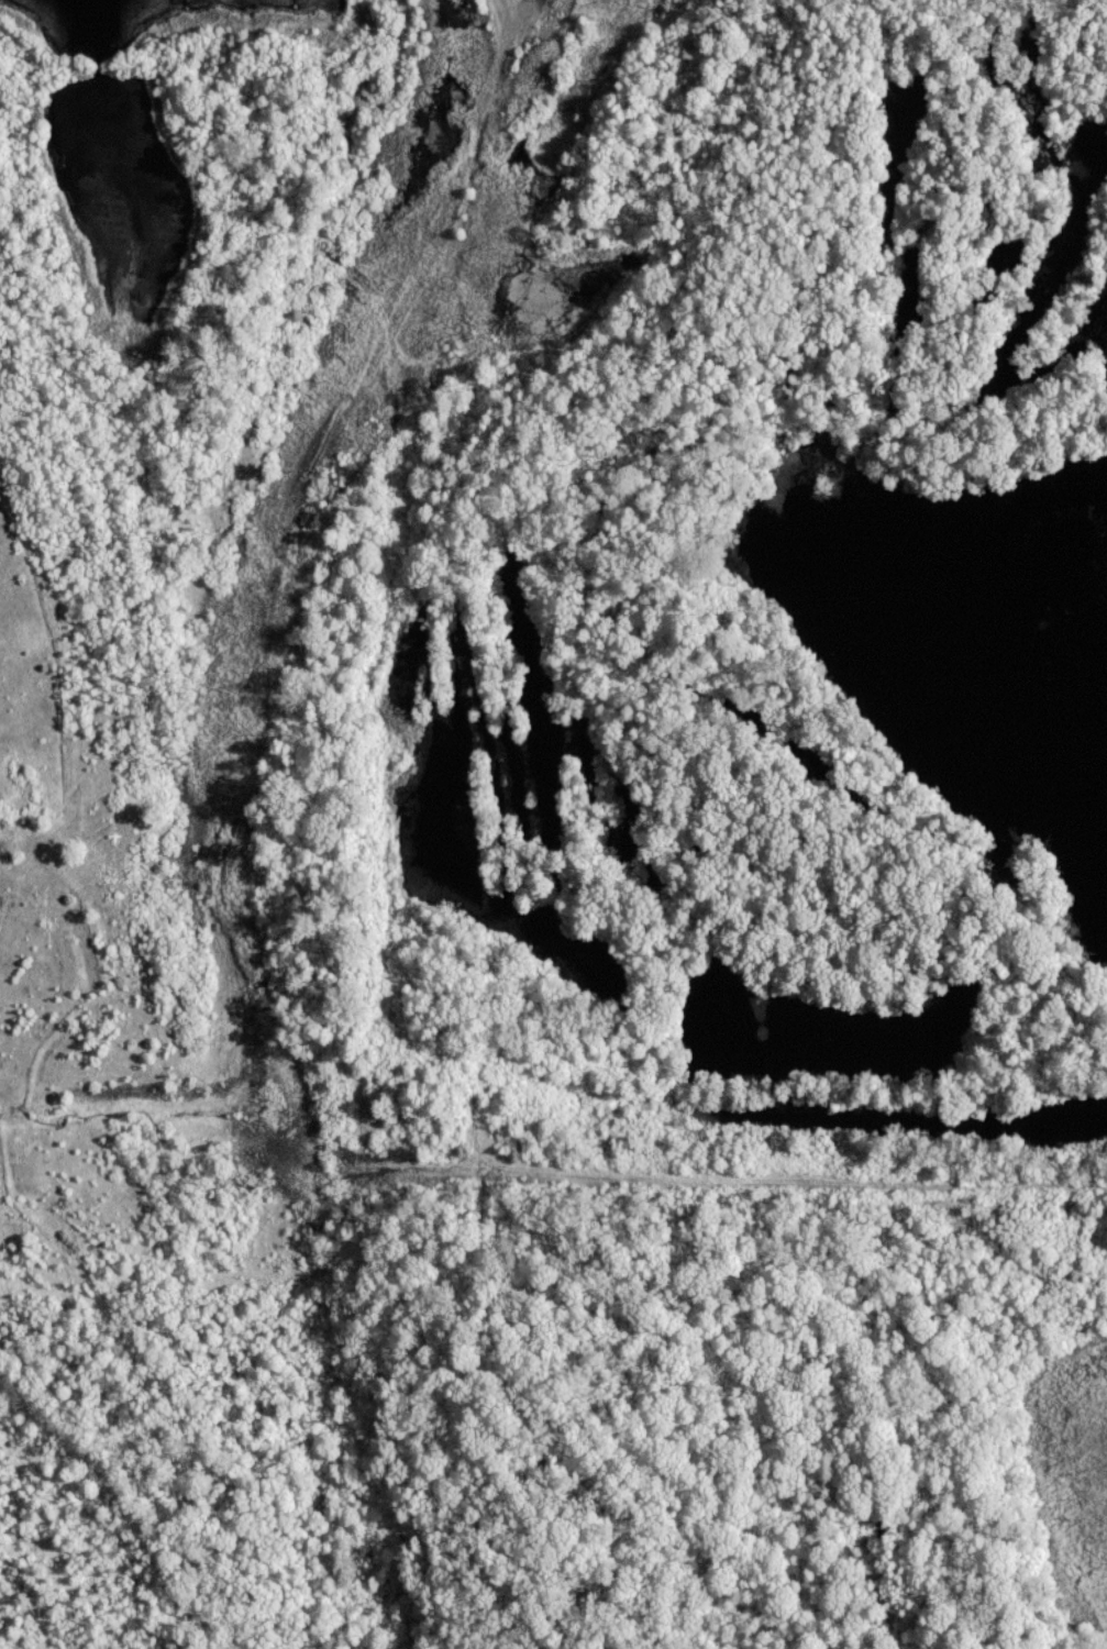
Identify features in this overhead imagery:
road: (552, 1187)

